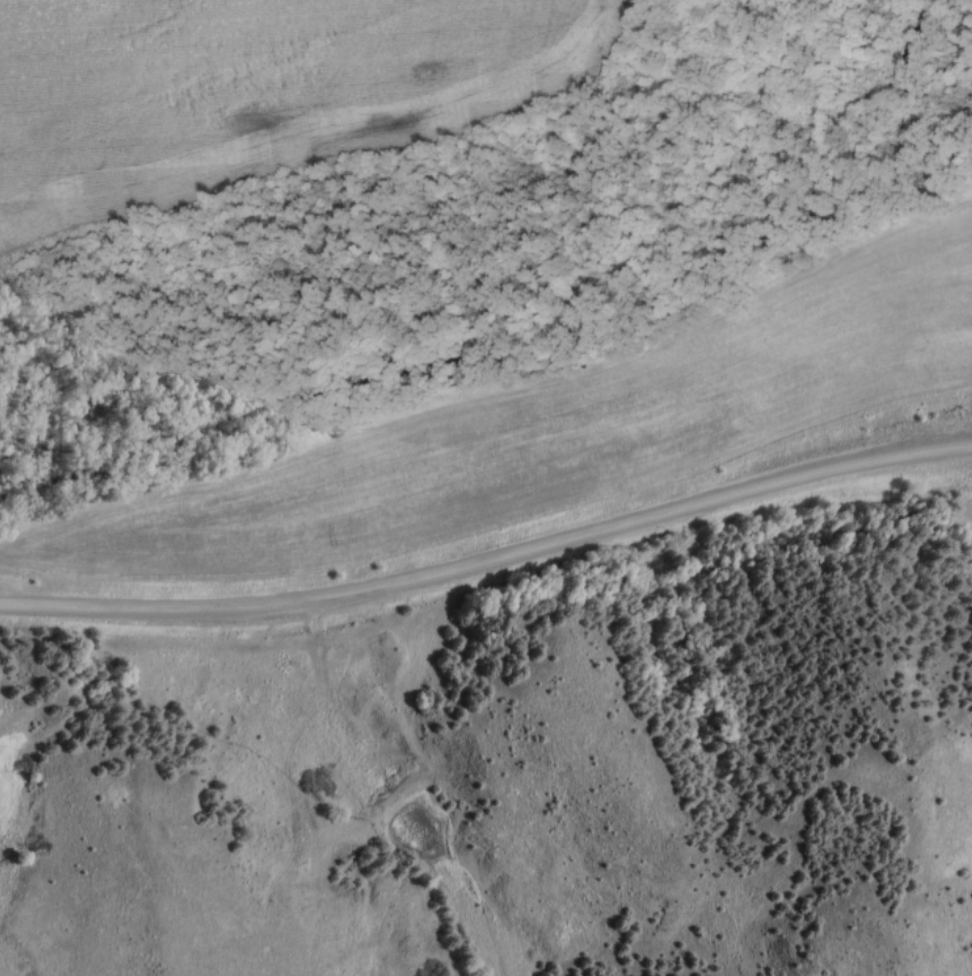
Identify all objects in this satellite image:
road: (490, 562)

